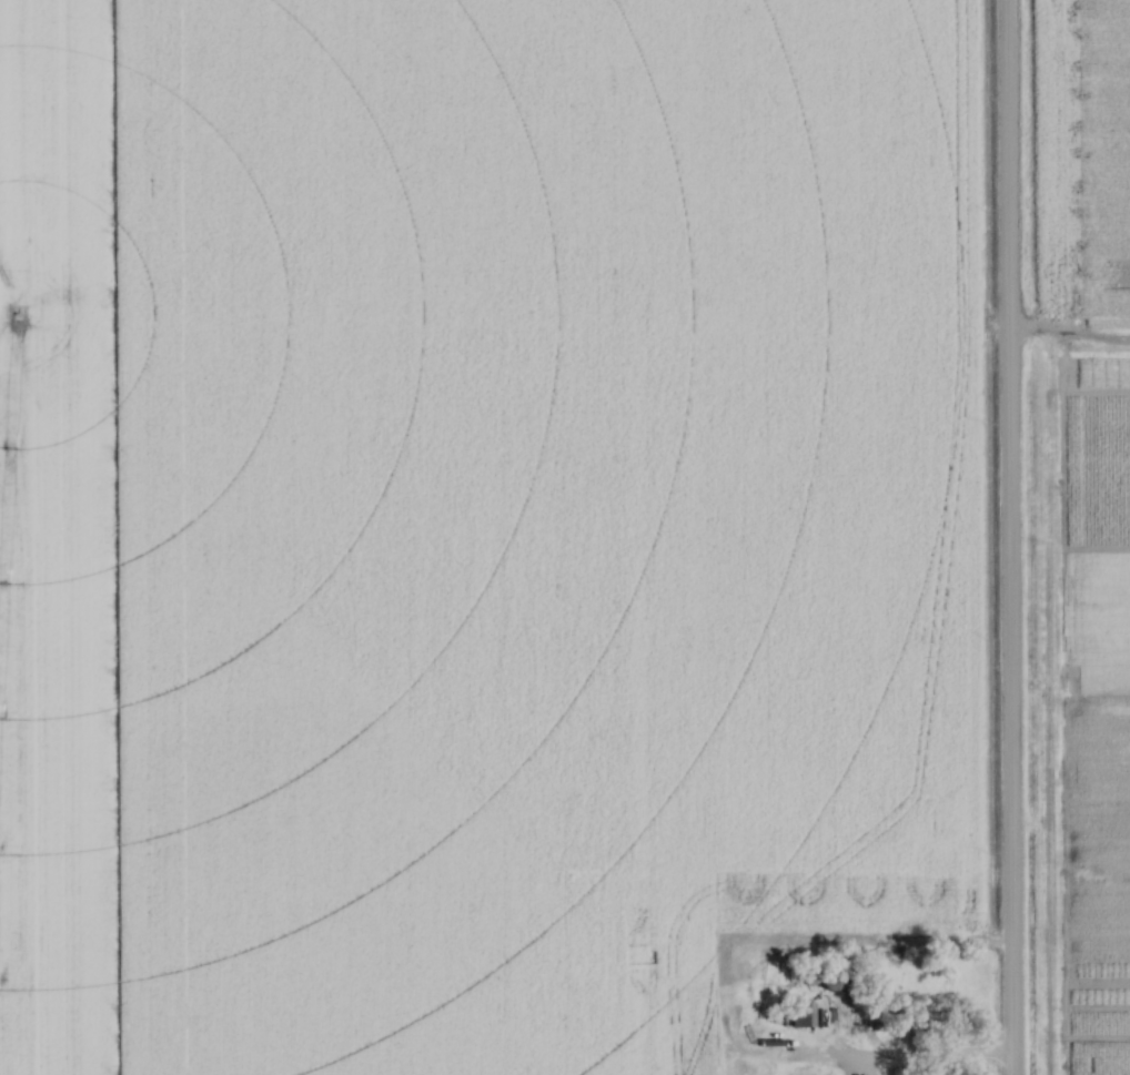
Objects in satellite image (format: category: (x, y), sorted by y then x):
road: (1008, 537)
building: (831, 981)
building: (800, 1016)
building: (901, 1023)
road: (927, 1056)

